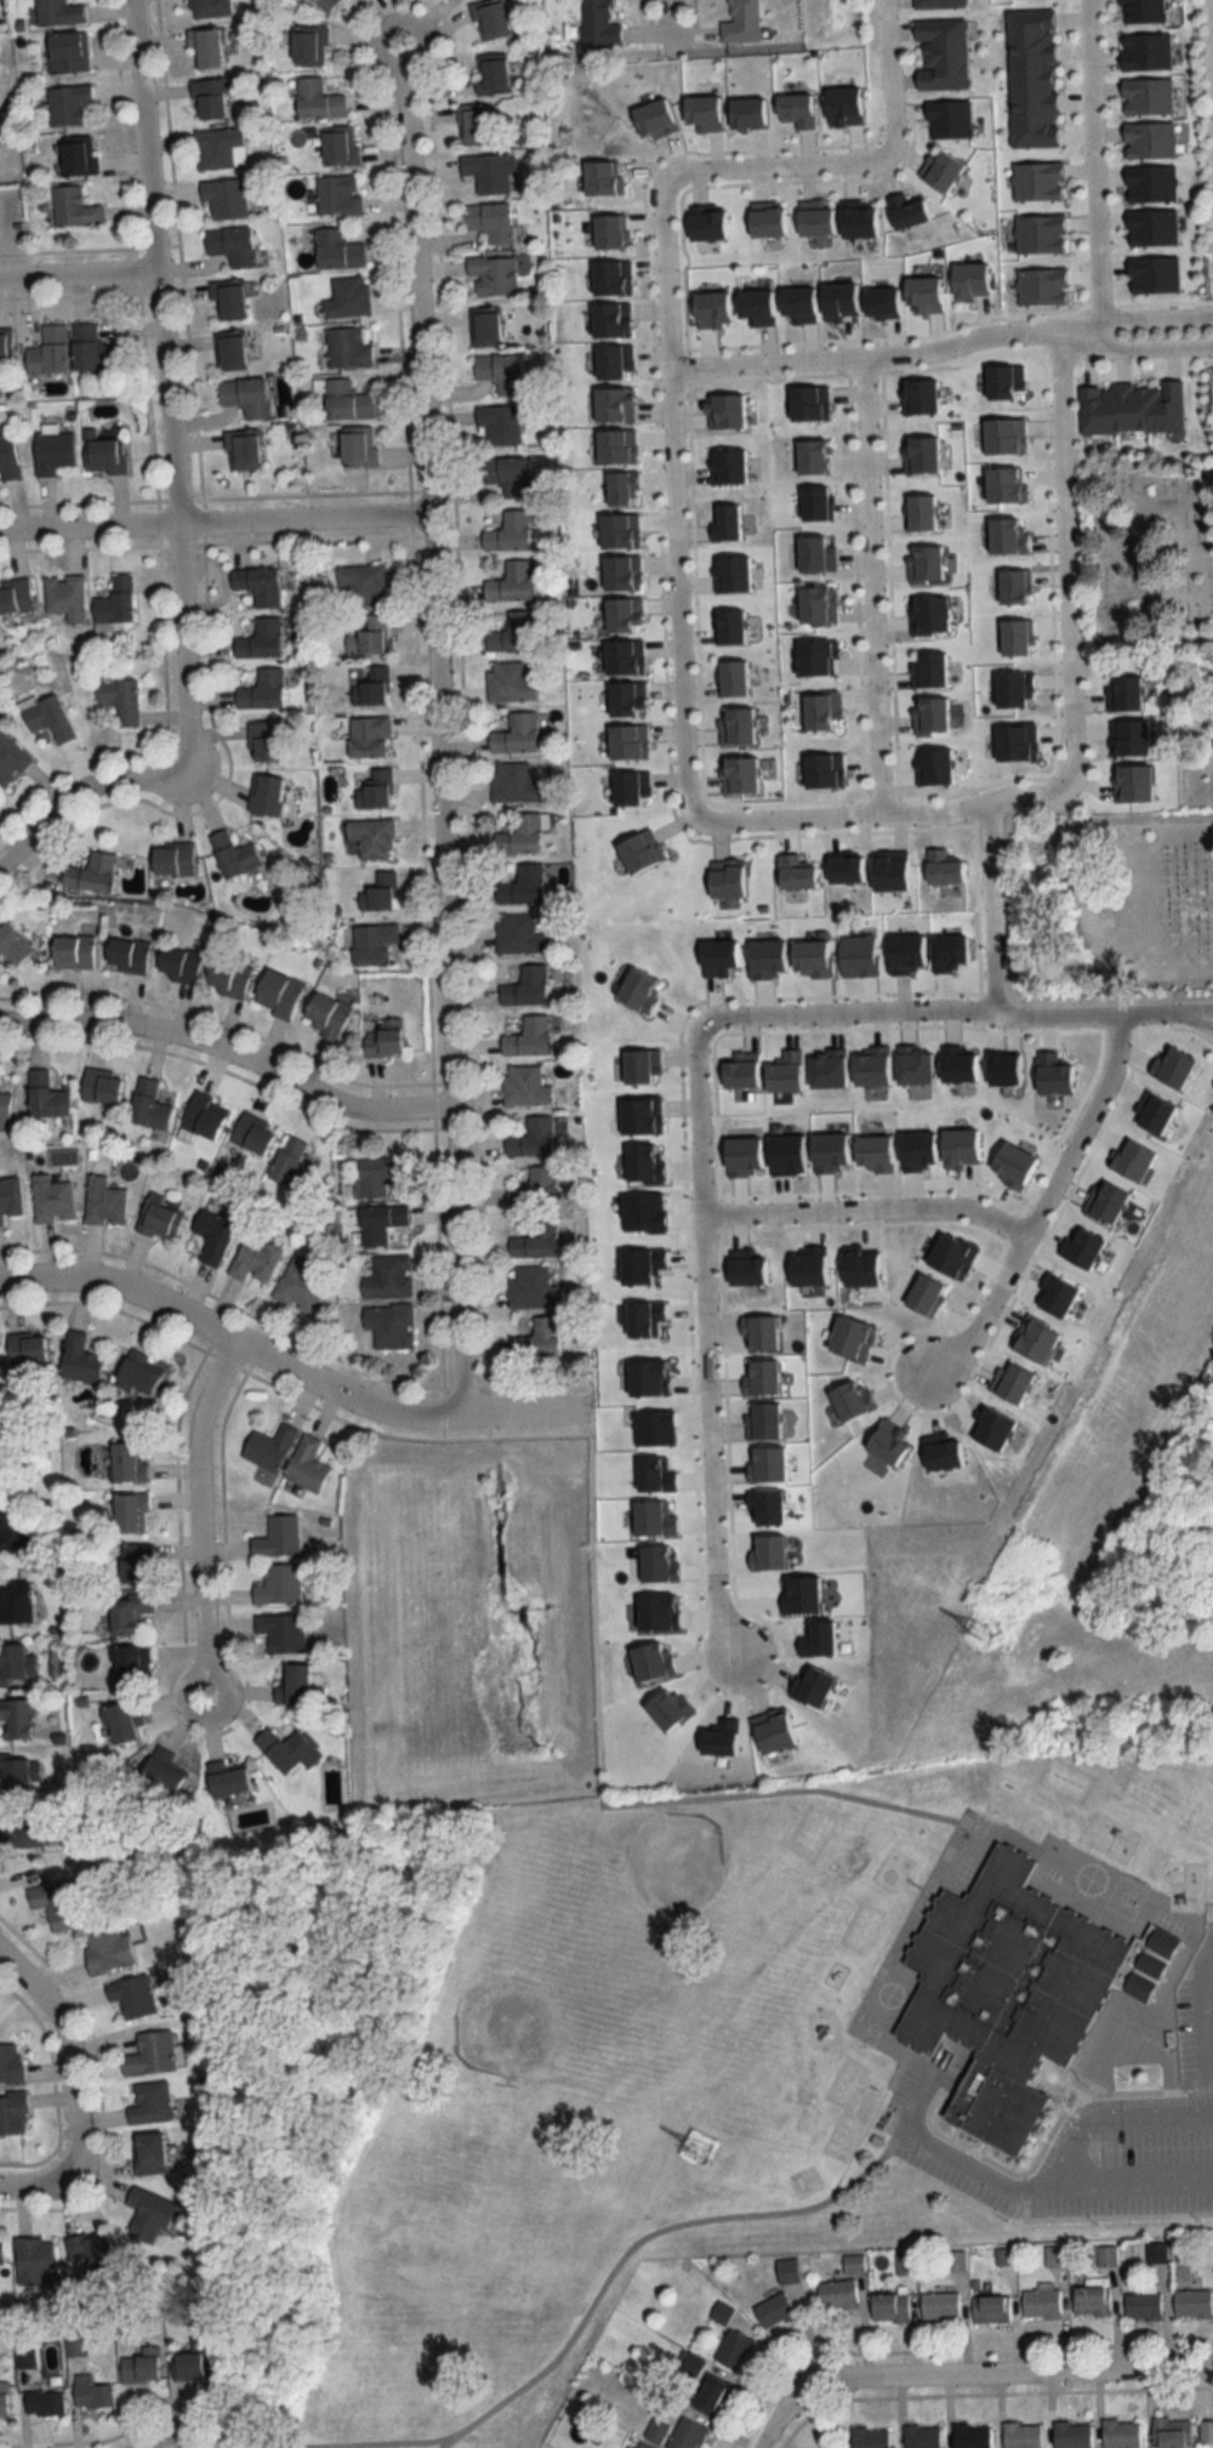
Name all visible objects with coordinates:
building: (940, 4)
building: (325, 5)
building: (206, 8)
building: (56, 13)
building: (490, 21)
road: (680, 22)
building: (741, 22)
building: (598, 24)
building: (308, 46)
building: (204, 49)
building: (67, 53)
building: (941, 53)
road: (1211, 53)
building: (491, 74)
road: (892, 78)
building: (1031, 78)
building: (1147, 97)
building: (210, 98)
building: (317, 99)
building: (842, 101)
building: (66, 104)
building: (702, 109)
building: (750, 110)
building: (796, 110)
building: (655, 115)
building: (473, 124)
building: (1149, 140)
building: (338, 144)
building: (220, 149)
building: (78, 156)
road: (1095, 165)
road: (774, 169)
building: (489, 170)
building: (940, 170)
building: (604, 175)
building: (338, 194)
building: (224, 198)
building: (72, 206)
building: (906, 207)
building: (855, 216)
building: (765, 217)
building: (815, 218)
building: (490, 220)
building: (705, 222)
building: (609, 229)
building: (230, 245)
building: (337, 249)
road: (74, 273)
building: (491, 274)
building: (611, 275)
building: (972, 277)
building: (1040, 283)
building: (926, 290)
building: (837, 295)
building: (348, 297)
building: (878, 297)
building: (795, 298)
building: (227, 301)
building: (751, 301)
building: (708, 304)
building: (613, 317)
building: (484, 326)
building: (5, 343)
building: (348, 347)
building: (90, 348)
road: (941, 348)
building: (49, 349)
building: (229, 352)
building: (610, 359)
building: (500, 371)
building: (998, 378)
road: (163, 385)
building: (919, 392)
building: (245, 394)
building: (346, 399)
building: (807, 399)
building: (613, 402)
building: (1131, 406)
building: (729, 410)
building: (501, 422)
building: (1004, 433)
building: (615, 440)
building: (358, 446)
building: (243, 449)
building: (52, 451)
building: (103, 451)
building: (810, 452)
building: (919, 452)
building: (7, 456)
building: (730, 463)
building: (506, 473)
building: (620, 483)
building: (1002, 485)
building: (814, 500)
road: (674, 508)
building: (918, 508)
building: (728, 519)
road: (212, 523)
building: (620, 528)
building: (509, 531)
building: (816, 551)
road: (1064, 556)
building: (926, 560)
park: (1149, 562)
building: (621, 569)
building: (730, 569)
building: (511, 581)
building: (1010, 582)
building: (363, 583)
building: (257, 585)
road: (872, 585)
building: (15, 596)
building: (66, 597)
building: (115, 600)
building: (816, 603)
building: (621, 610)
building: (928, 613)
building: (729, 624)
building: (513, 632)
building: (366, 633)
building: (1014, 636)
building: (261, 639)
building: (623, 654)
building: (813, 656)
building: (929, 667)
building: (733, 677)
building: (508, 682)
building: (371, 687)
building: (1009, 687)
building: (263, 689)
building: (1122, 693)
building: (623, 695)
building: (119, 698)
building: (821, 708)
building: (932, 713)
building: (46, 716)
building: (738, 723)
road: (434, 725)
building: (516, 733)
building: (1127, 735)
building: (368, 736)
building: (627, 739)
building: (1014, 739)
building: (264, 740)
building: (10, 758)
building: (930, 763)
building: (821, 768)
building: (740, 773)
building: (1128, 779)
building: (512, 781)
building: (628, 785)
building: (372, 787)
road: (75, 790)
building: (266, 793)
road: (894, 813)
building: (520, 835)
building: (371, 837)
building: (639, 848)
building: (233, 854)
building: (172, 858)
building: (946, 865)
building: (842, 866)
building: (885, 866)
building: (793, 867)
building: (90, 872)
building: (724, 876)
building: (522, 886)
building: (378, 889)
park: (1116, 901)
road: (990, 922)
building: (518, 934)
building: (371, 943)
building: (12, 944)
building: (901, 949)
building: (712, 950)
building: (807, 950)
building: (72, 951)
building: (761, 953)
building: (126, 955)
building: (177, 963)
building: (227, 978)
building: (636, 984)
building: (523, 985)
building: (277, 992)
road: (849, 1010)
road: (1117, 1013)
building: (324, 1014)
building: (528, 1037)
building: (383, 1038)
road: (229, 1047)
building: (640, 1061)
building: (739, 1066)
building: (1050, 1071)
building: (101, 1086)
building: (524, 1086)
building: (45, 1095)
building: (5, 1104)
building: (148, 1104)
building: (1158, 1111)
building: (639, 1112)
building: (201, 1115)
road: (695, 1116)
building: (252, 1133)
building: (531, 1138)
building: (956, 1142)
building: (1132, 1156)
building: (1010, 1160)
building: (290, 1165)
building: (377, 1174)
building: (534, 1189)
building: (10, 1197)
building: (51, 1199)
building: (1106, 1199)
building: (103, 1201)
road: (1038, 1205)
road: (864, 1209)
building: (158, 1218)
building: (381, 1223)
building: (212, 1236)
building: (535, 1239)
building: (1080, 1242)
building: (946, 1248)
building: (255, 1259)
building: (856, 1265)
building: (804, 1266)
building: (744, 1269)
building: (389, 1277)
building: (298, 1285)
building: (531, 1287)
building: (919, 1292)
building: (1057, 1292)
building: (389, 1325)
building: (762, 1331)
building: (850, 1333)
building: (1033, 1337)
building: (537, 1338)
building: (27, 1348)
building: (79, 1357)
road: (287, 1360)
building: (136, 1371)
building: (1013, 1382)
building: (853, 1399)
building: (764, 1418)
building: (993, 1422)
road: (708, 1436)
building: (885, 1440)
building: (269, 1447)
building: (939, 1451)
building: (127, 1461)
building: (307, 1465)
road: (198, 1512)
building: (130, 1513)
building: (11, 1531)
building: (278, 1537)
building: (135, 1564)
building: (278, 1585)
building: (15, 1602)
building: (127, 1612)
power tower: (980, 1629)
building: (280, 1633)
building: (15, 1663)
building: (130, 1666)
building: (813, 1683)
building: (290, 1684)
building: (17, 1719)
building: (121, 1721)
building: (773, 1727)
building: (285, 1749)
building: (163, 1771)
building: (15, 1774)
building: (227, 1778)
road: (599, 1794)
building: (21, 1827)
building: (57, 1905)
building: (106, 1951)
building: (1015, 1989)
building: (131, 1997)
road: (1203, 2022)
road: (1139, 2036)
road: (70, 2043)
building: (149, 2055)
building: (10, 2063)
building: (149, 2103)
building: (12, 2113)
power tower: (699, 2148)
road: (950, 2152)
road: (1072, 2152)
building: (148, 2154)
road: (38, 2182)
building: (149, 2213)
road: (642, 2237)
building: (91, 2251)
building: (0, 2253)
building: (33, 2260)
building: (853, 2264)
building: (786, 2271)
building: (837, 2295)
building: (1090, 2301)
building: (1041, 2302)
building: (1192, 2304)
building: (1143, 2305)
building: (940, 2307)
building: (889, 2308)
building: (991, 2308)
building: (773, 2311)
building: (733, 2350)
building: (190, 2363)
building: (141, 2367)
road: (1013, 2369)
building: (91, 2393)
building: (710, 2395)
building: (4, 2402)
building: (42, 2403)
road: (781, 2408)
building: (655, 2431)
building: (1172, 2432)
building: (1206, 2432)
road: (164, 2433)
building: (685, 2435)
building: (1071, 2435)
building: (1121, 2435)
building: (972, 2436)
building: (1021, 2436)
building: (922, 2437)
building: (870, 2438)
road: (363, 2443)
building: (643, 2446)

